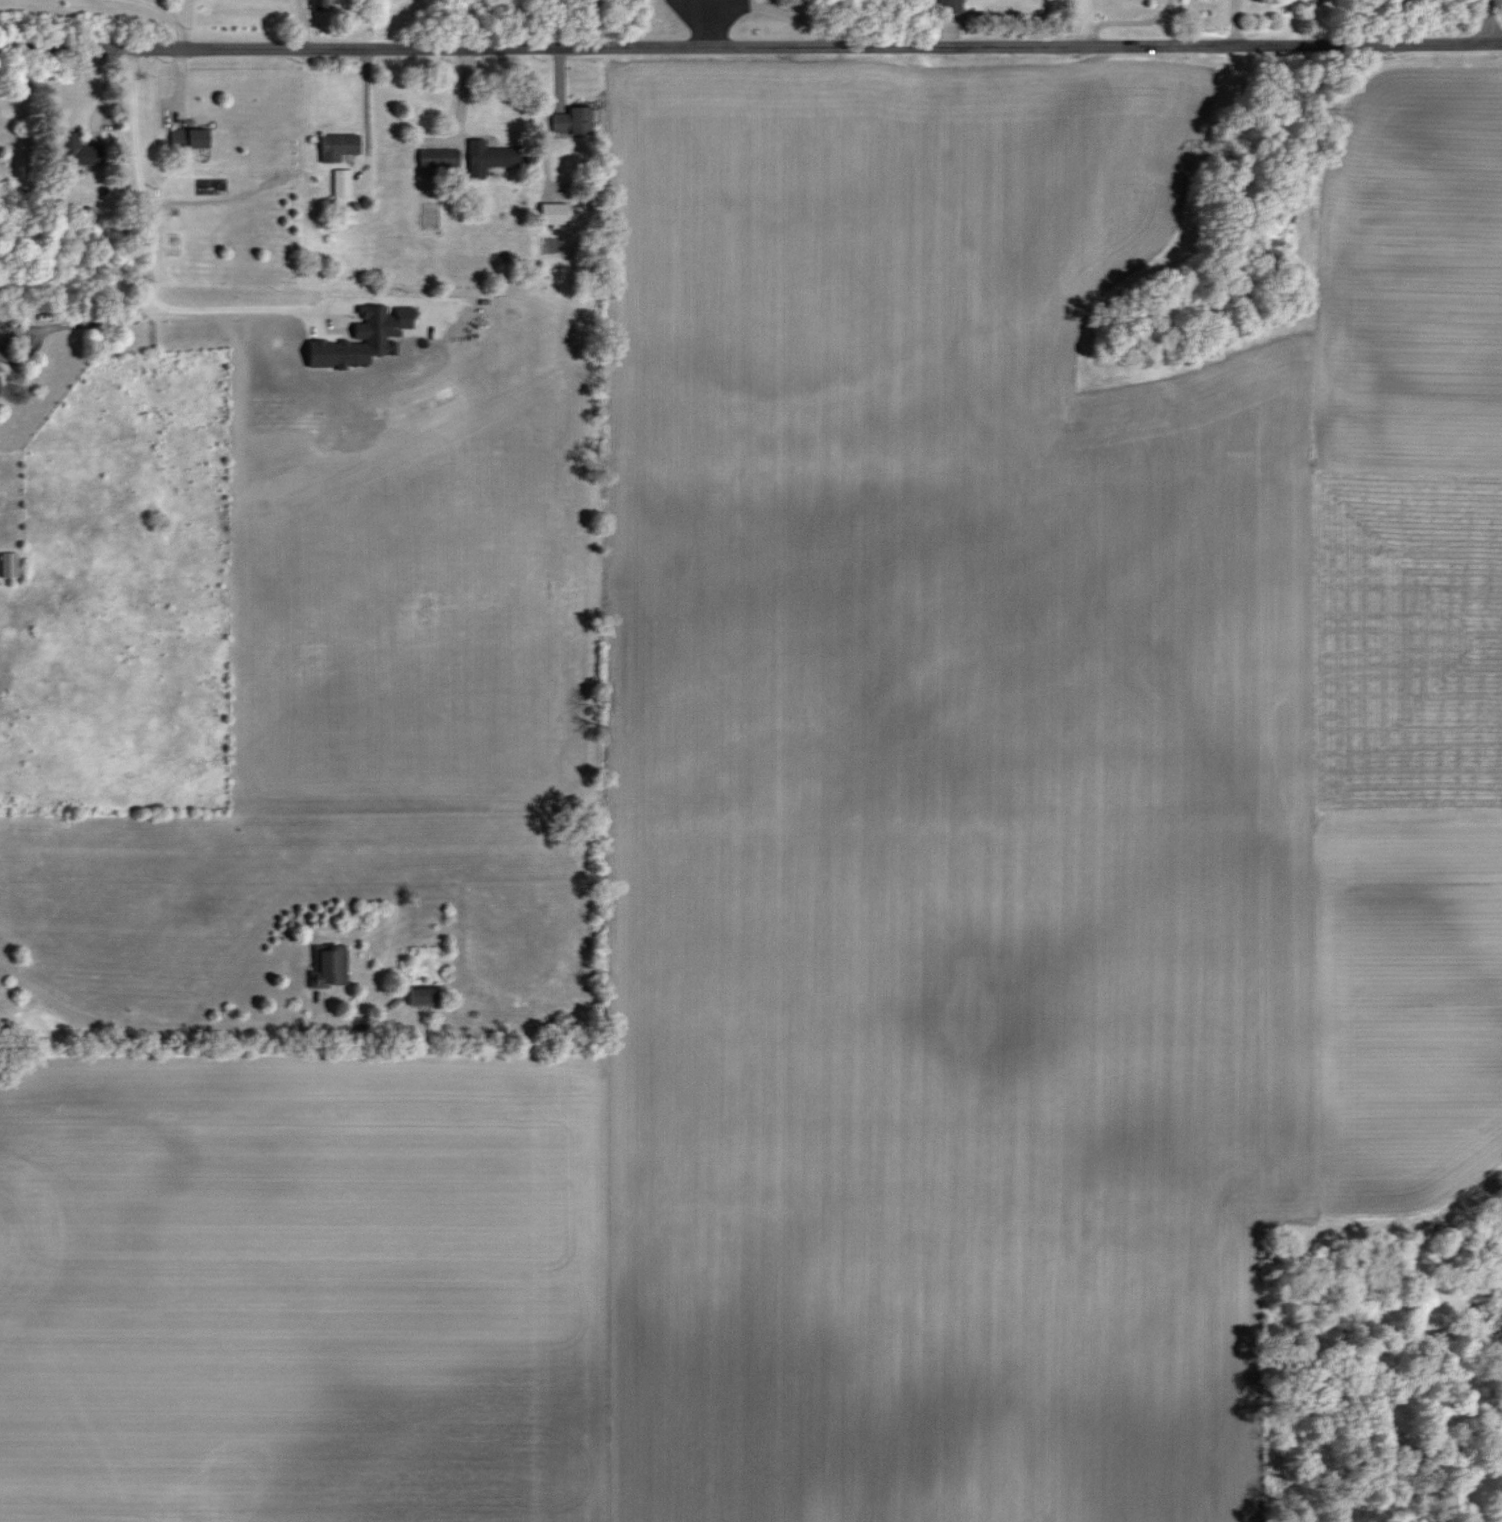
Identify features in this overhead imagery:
building: (317, 5)
road: (170, 17)
road: (1491, 22)
road: (1081, 24)
road: (751, 48)
road: (368, 114)
building: (573, 120)
building: (188, 137)
building: (68, 141)
building: (338, 146)
building: (438, 158)
building: (341, 182)
road: (149, 268)
road: (81, 323)
building: (362, 339)
building: (8, 564)
building: (329, 966)
building: (422, 994)
road: (144, 1027)

